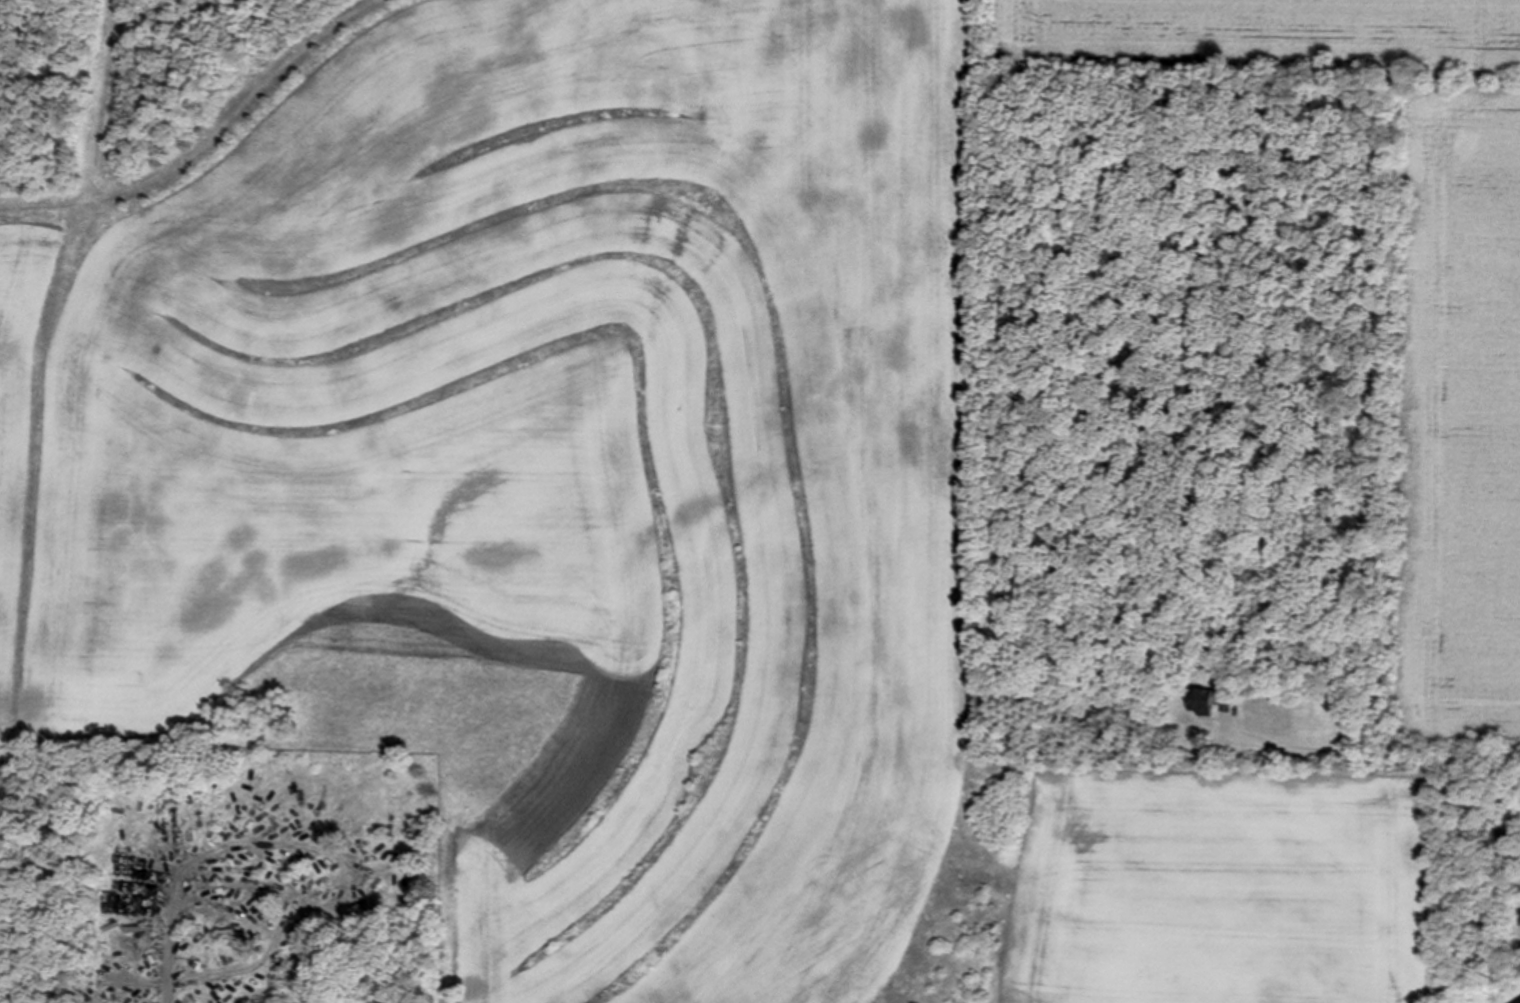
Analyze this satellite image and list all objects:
building: (1203, 702)
road: (1360, 756)

